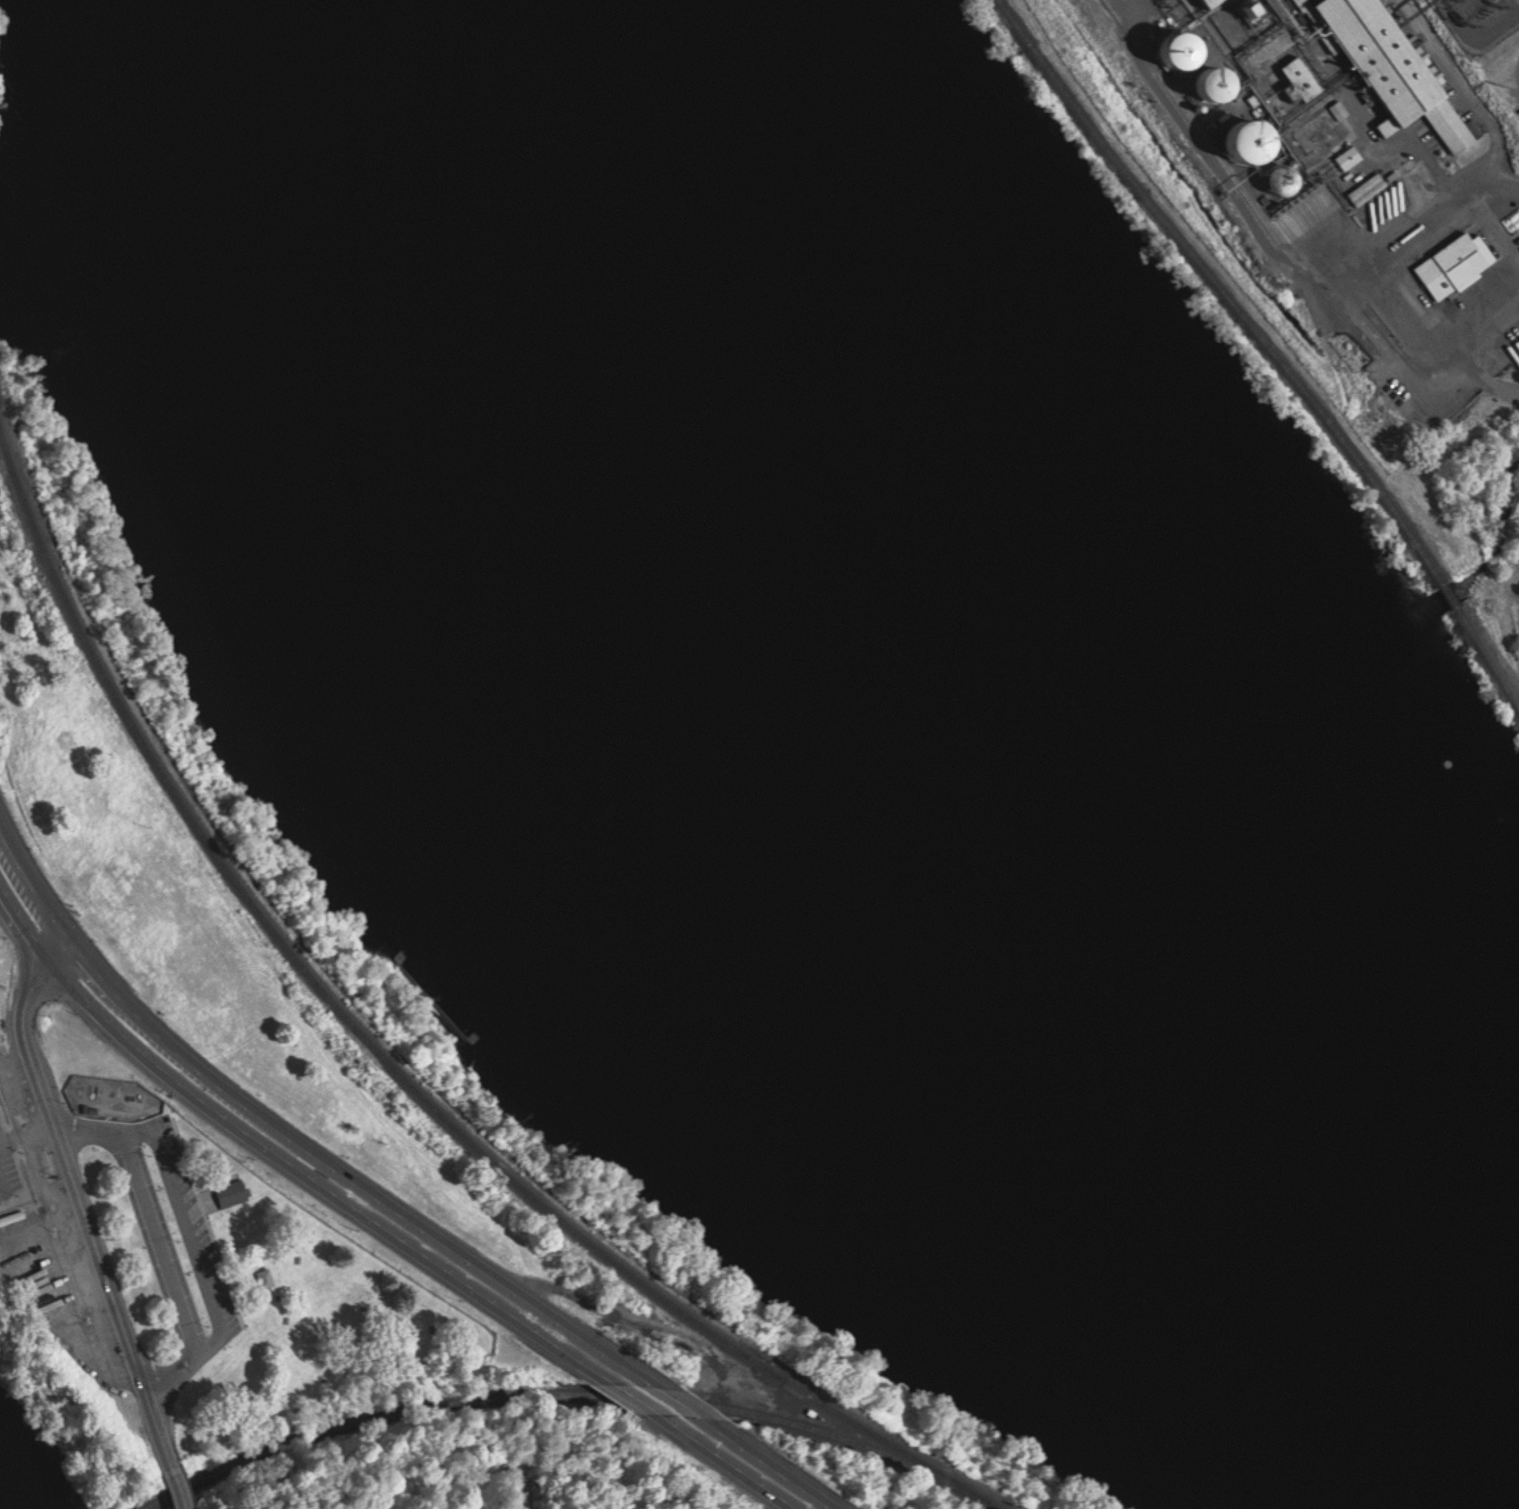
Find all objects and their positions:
building: (1210, 2)
road: (1128, 3)
building: (1388, 65)
building: (1299, 73)
building: (1256, 141)
building: (1350, 157)
railway: (1227, 173)
building: (1367, 190)
river: (4, 242)
building: (1448, 261)
railway: (1223, 291)
road: (1467, 338)
road: (1503, 390)
railway: (1450, 595)
railway: (1488, 655)
river: (918, 728)
road: (39, 886)
road: (27, 921)
road: (69, 956)
railway: (399, 1067)
road: (93, 1139)
road: (359, 1180)
road: (323, 1187)
building: (234, 1193)
road: (87, 1215)
road: (162, 1244)
road: (206, 1260)
building: (87, 1320)
railway: (575, 1395)
road: (635, 1401)
road: (680, 1402)
road: (727, 1463)
road: (770, 1463)
river: (14, 1490)
road: (181, 1491)

